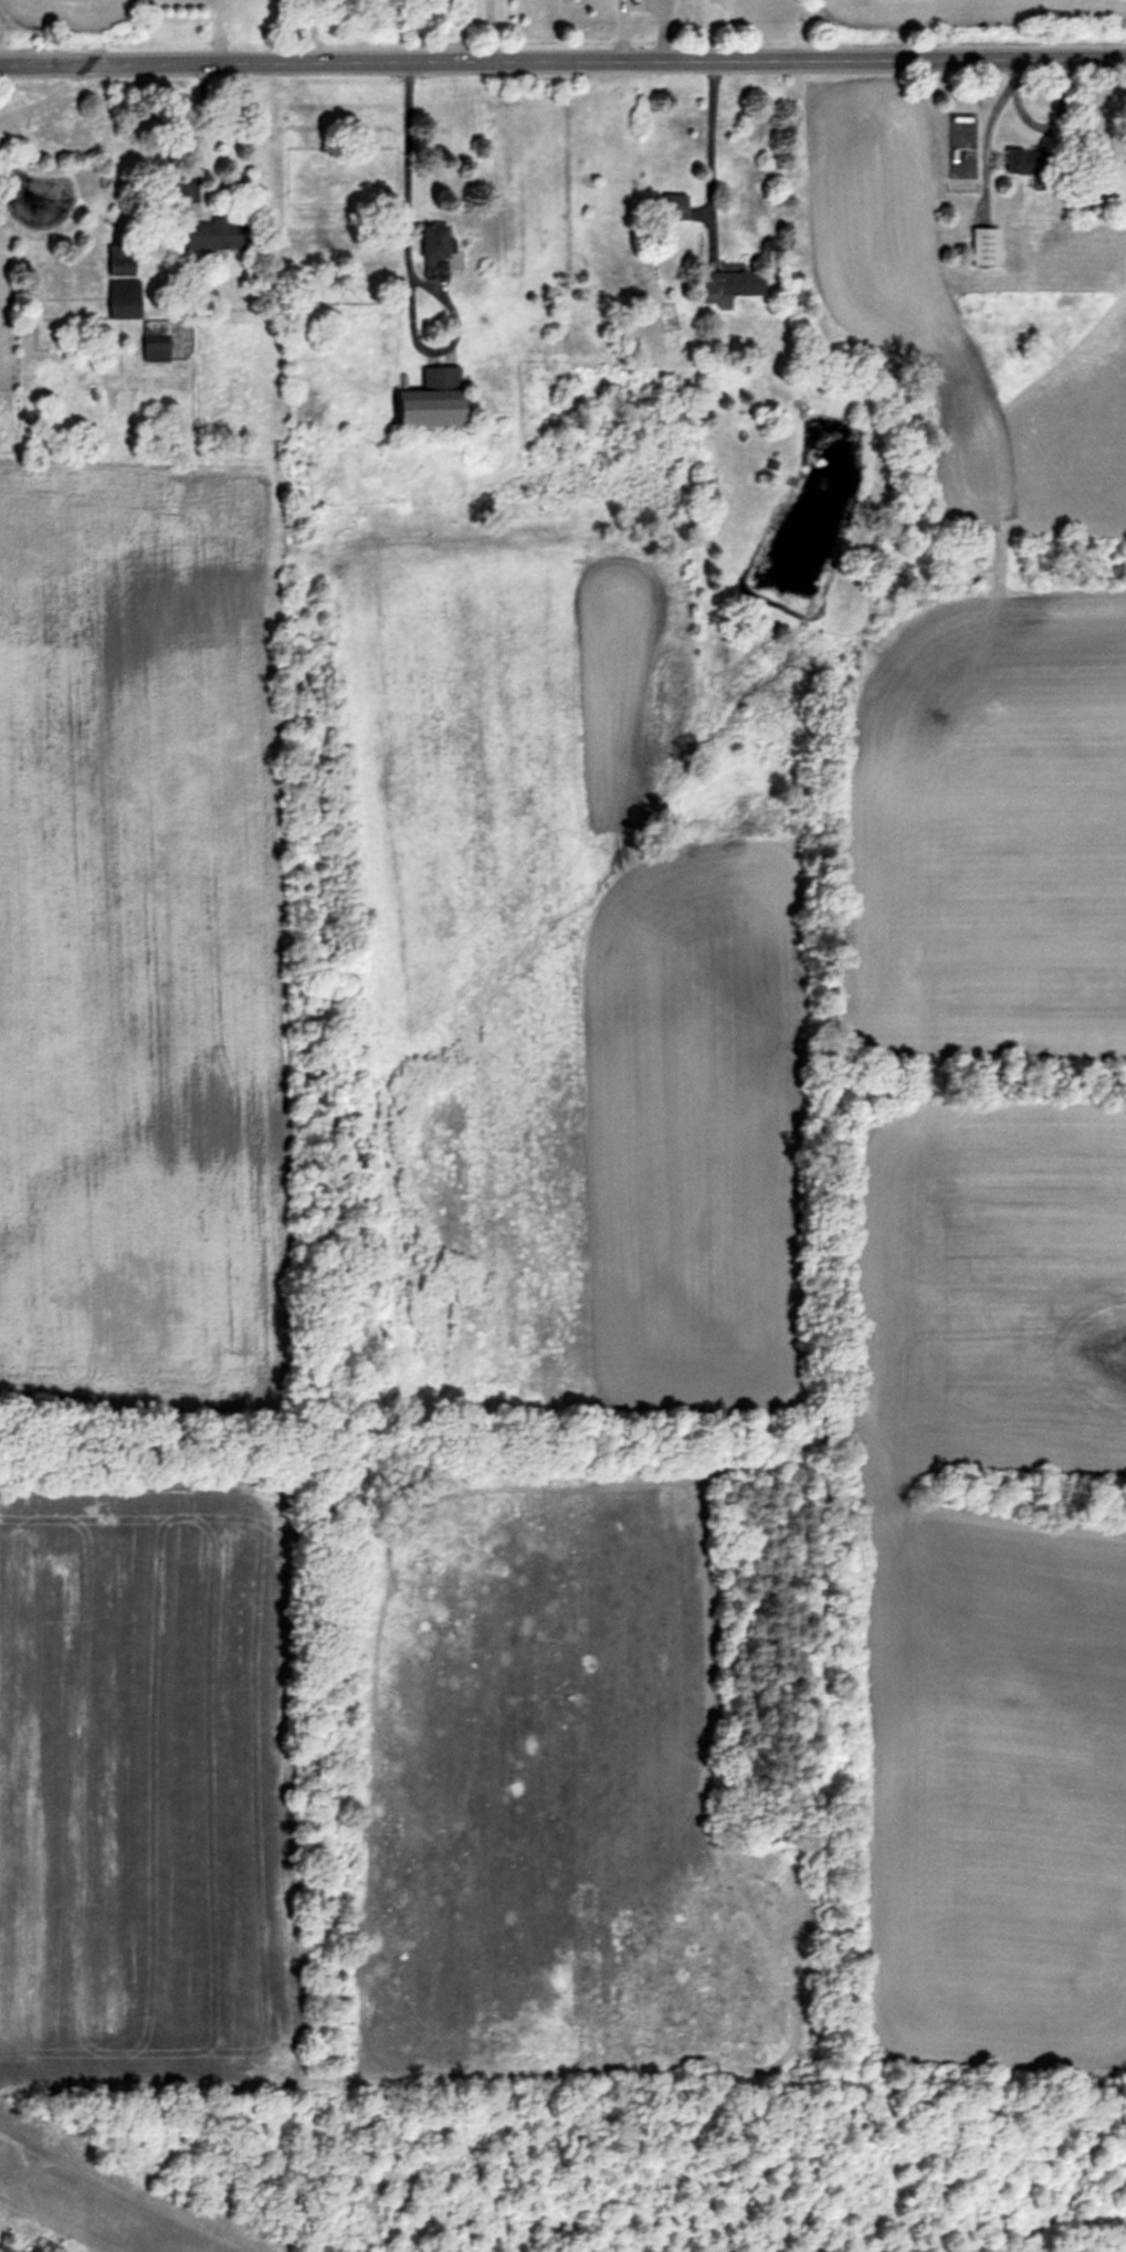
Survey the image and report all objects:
road: (488, 31)
road: (562, 61)
building: (1035, 167)
road: (404, 197)
building: (674, 208)
building: (214, 235)
building: (985, 248)
building: (434, 250)
building: (120, 262)
building: (591, 263)
building: (732, 284)
building: (124, 299)
building: (2, 304)
building: (156, 341)
building: (433, 401)
park: (596, 2166)

